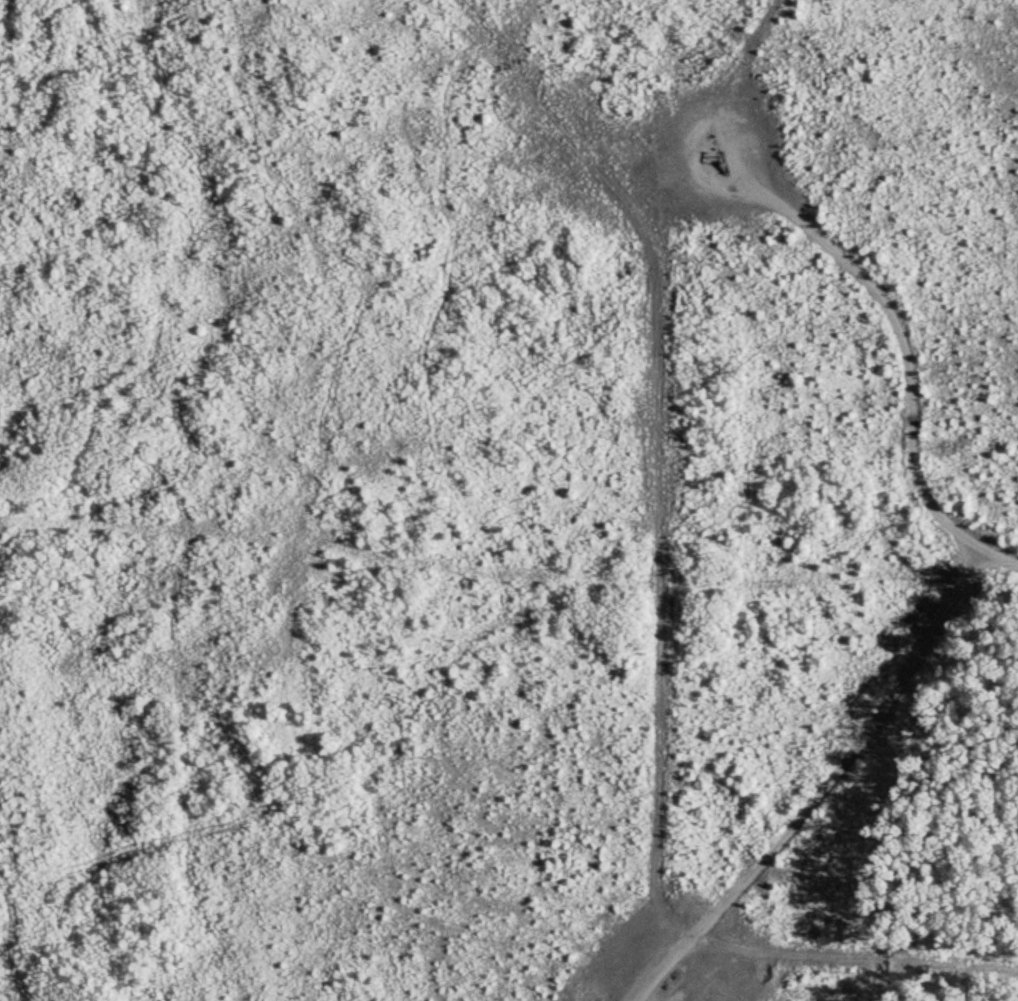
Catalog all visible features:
petroleum well: (719, 158)
road: (991, 555)
road: (946, 595)
petroleum well: (669, 998)

